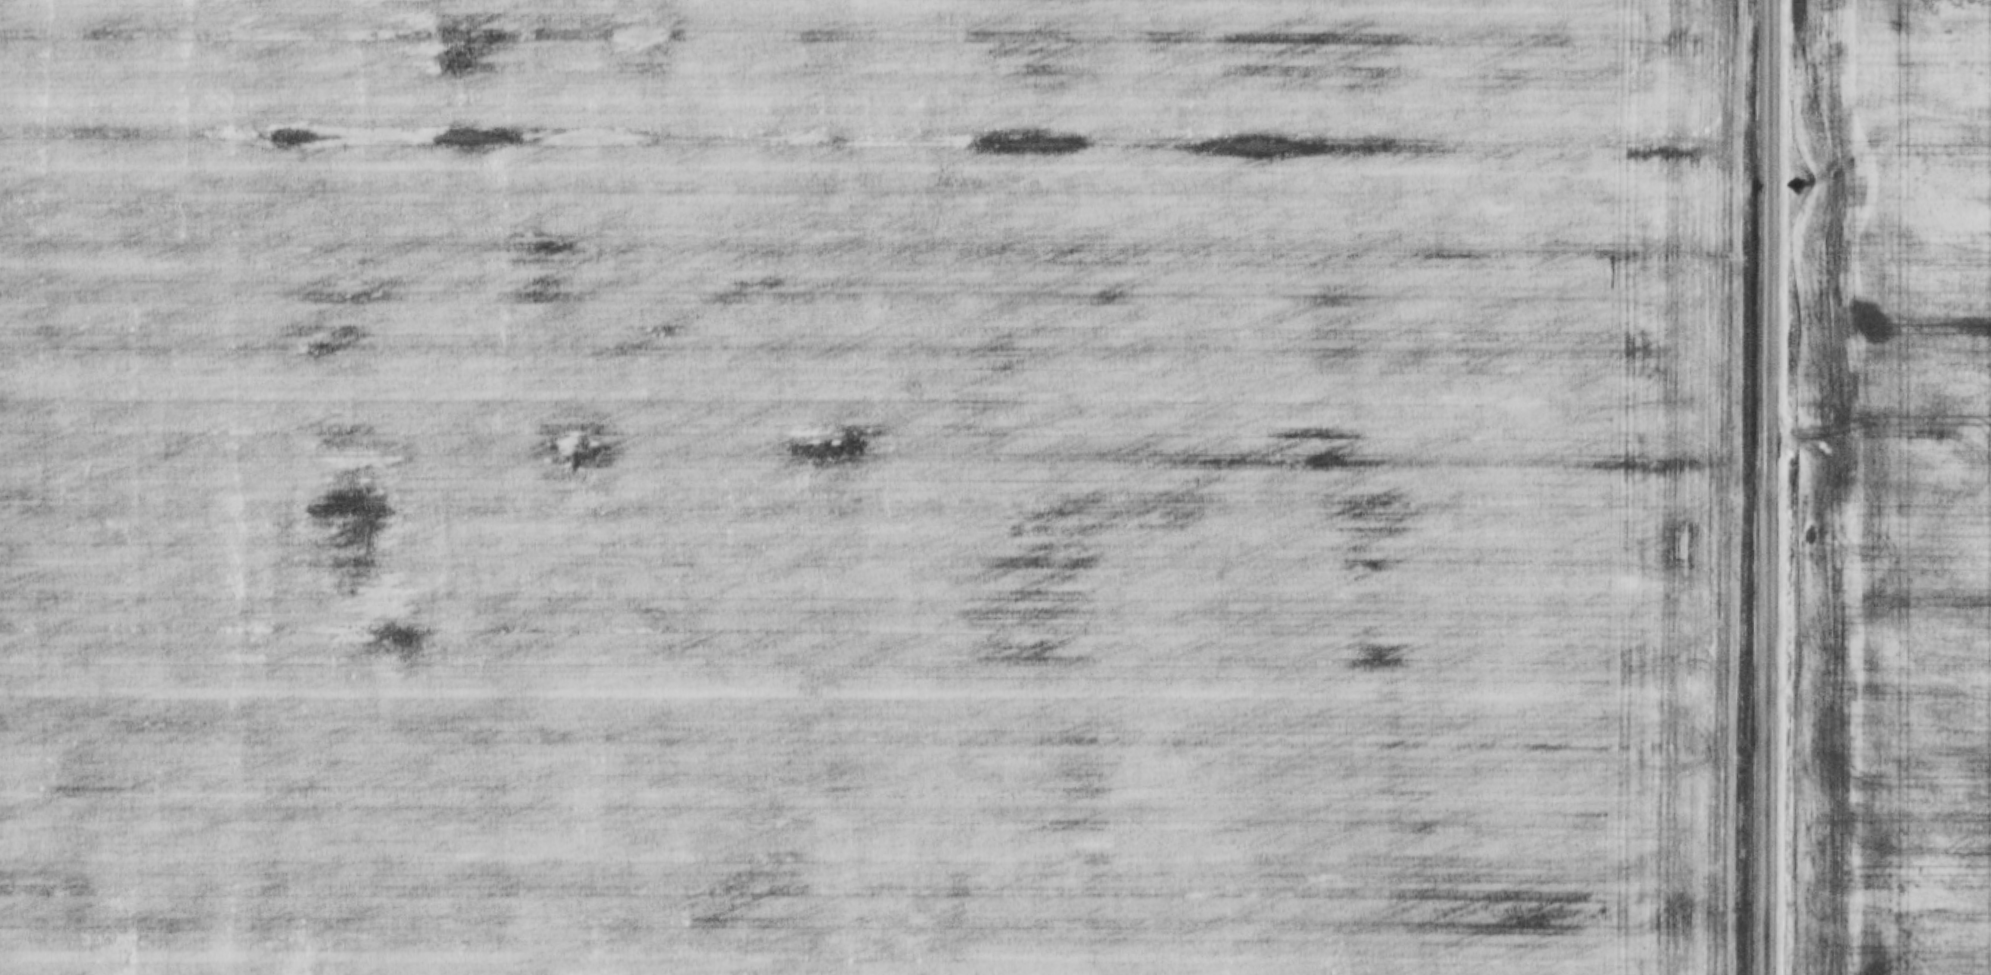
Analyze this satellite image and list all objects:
road: (1773, 487)

